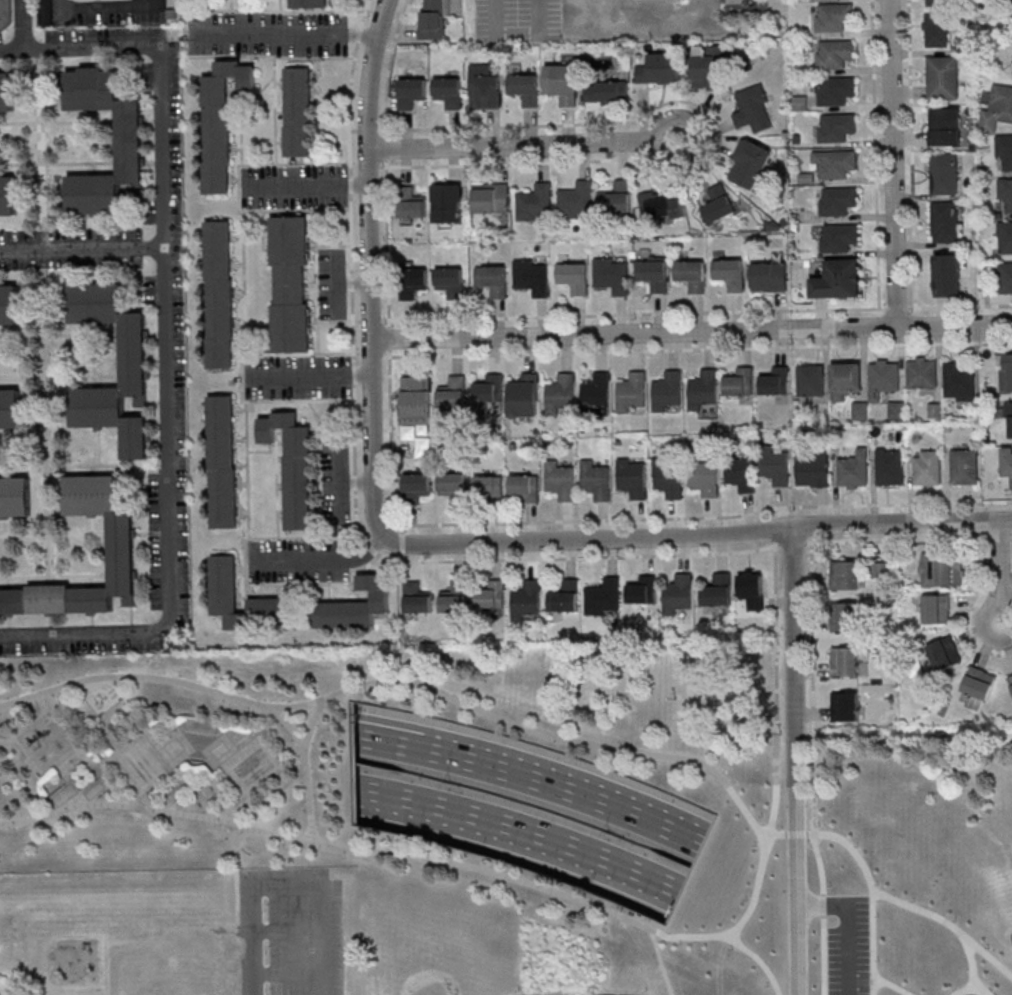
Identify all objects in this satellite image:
building: (1003, 0)
building: (939, 2)
building: (310, 4)
road: (104, 8)
building: (833, 18)
building: (434, 19)
parking lot: (517, 20)
road: (22, 24)
building: (936, 29)
road: (291, 32)
road: (515, 34)
building: (833, 54)
road: (388, 66)
building: (659, 69)
building: (710, 73)
building: (942, 78)
building: (561, 83)
building: (6, 89)
building: (484, 89)
building: (524, 89)
building: (834, 90)
building: (606, 91)
building: (411, 92)
building: (448, 92)
building: (753, 109)
building: (997, 109)
building: (299, 115)
building: (221, 121)
road: (614, 122)
building: (836, 126)
building: (945, 127)
road: (363, 130)
building: (128, 141)
road: (527, 142)
road: (385, 147)
building: (1004, 151)
road: (876, 154)
road: (910, 154)
road: (514, 162)
road: (894, 162)
building: (834, 163)
building: (750, 164)
building: (944, 176)
road: (314, 183)
building: (1005, 193)
building: (7, 195)
building: (490, 199)
building: (617, 199)
building: (837, 200)
building: (577, 201)
building: (447, 203)
building: (535, 204)
building: (717, 206)
building: (412, 207)
building: (663, 207)
building: (945, 223)
building: (838, 236)
building: (1004, 237)
road: (387, 243)
road: (84, 249)
road: (332, 267)
road: (373, 267)
building: (730, 273)
building: (691, 274)
building: (947, 274)
building: (612, 275)
building: (653, 275)
building: (532, 277)
building: (769, 277)
building: (1005, 277)
building: (573, 278)
building: (838, 279)
building: (492, 280)
road: (336, 281)
building: (450, 281)
building: (413, 282)
building: (291, 286)
building: (219, 297)
building: (8, 303)
road: (959, 306)
road: (896, 308)
road: (634, 314)
road: (366, 320)
road: (693, 330)
road: (388, 338)
road: (171, 341)
road: (700, 349)
building: (132, 353)
building: (1009, 371)
building: (921, 374)
road: (313, 377)
building: (883, 377)
building: (845, 378)
building: (810, 380)
building: (775, 381)
building: (740, 382)
building: (959, 382)
building: (597, 390)
building: (666, 390)
building: (703, 390)
building: (631, 391)
building: (453, 392)
building: (489, 392)
building: (560, 394)
building: (524, 396)
building: (417, 398)
building: (9, 407)
building: (896, 410)
building: (1007, 413)
building: (1007, 463)
building: (223, 465)
building: (775, 465)
building: (889, 466)
building: (964, 466)
building: (294, 467)
building: (927, 467)
building: (812, 469)
building: (853, 470)
building: (741, 473)
building: (633, 477)
building: (668, 478)
building: (705, 478)
road: (355, 479)
building: (561, 480)
building: (596, 480)
road: (341, 481)
road: (359, 483)
building: (417, 485)
building: (454, 486)
building: (489, 487)
building: (524, 488)
building: (14, 495)
road: (617, 519)
road: (902, 524)
road: (588, 538)
road: (1000, 538)
road: (1011, 538)
road: (897, 539)
road: (791, 543)
building: (119, 550)
road: (326, 563)
building: (940, 569)
building: (882, 570)
road: (1001, 572)
building: (844, 575)
building: (643, 589)
building: (751, 589)
building: (717, 590)
building: (677, 594)
building: (492, 596)
building: (565, 596)
building: (605, 597)
building: (455, 598)
building: (417, 599)
building: (527, 600)
road: (402, 601)
building: (294, 606)
road: (972, 607)
building: (936, 609)
building: (844, 616)
road: (812, 624)
building: (944, 654)
road: (160, 655)
building: (844, 661)
building: (1010, 680)
road: (94, 683)
building: (979, 683)
road: (775, 690)
road: (1, 705)
building: (845, 706)
road: (311, 724)
road: (399, 726)
road: (7, 740)
road: (392, 746)
road: (446, 756)
road: (796, 761)
road: (51, 764)
road: (306, 770)
road: (188, 785)
road: (197, 791)
road: (275, 794)
road: (580, 796)
road: (142, 799)
road: (813, 799)
road: (231, 804)
park: (523, 805)
park: (173, 817)
road: (517, 834)
road: (764, 851)
park: (913, 860)
road: (237, 873)
road: (868, 875)
road: (823, 903)
road: (944, 922)
road: (846, 924)
road: (251, 936)
road: (52, 938)
park: (446, 941)
parking lot: (847, 945)
road: (823, 955)
road: (990, 958)
road: (660, 960)
road: (759, 960)
building: (174, 969)
road: (892, 984)
road: (106, 989)
road: (964, 991)
road: (979, 991)

